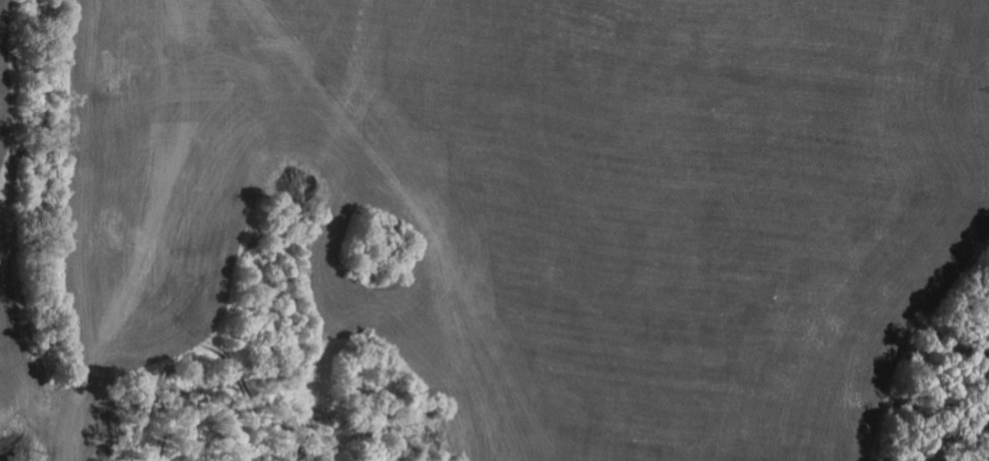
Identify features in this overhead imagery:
road: (57, 230)

